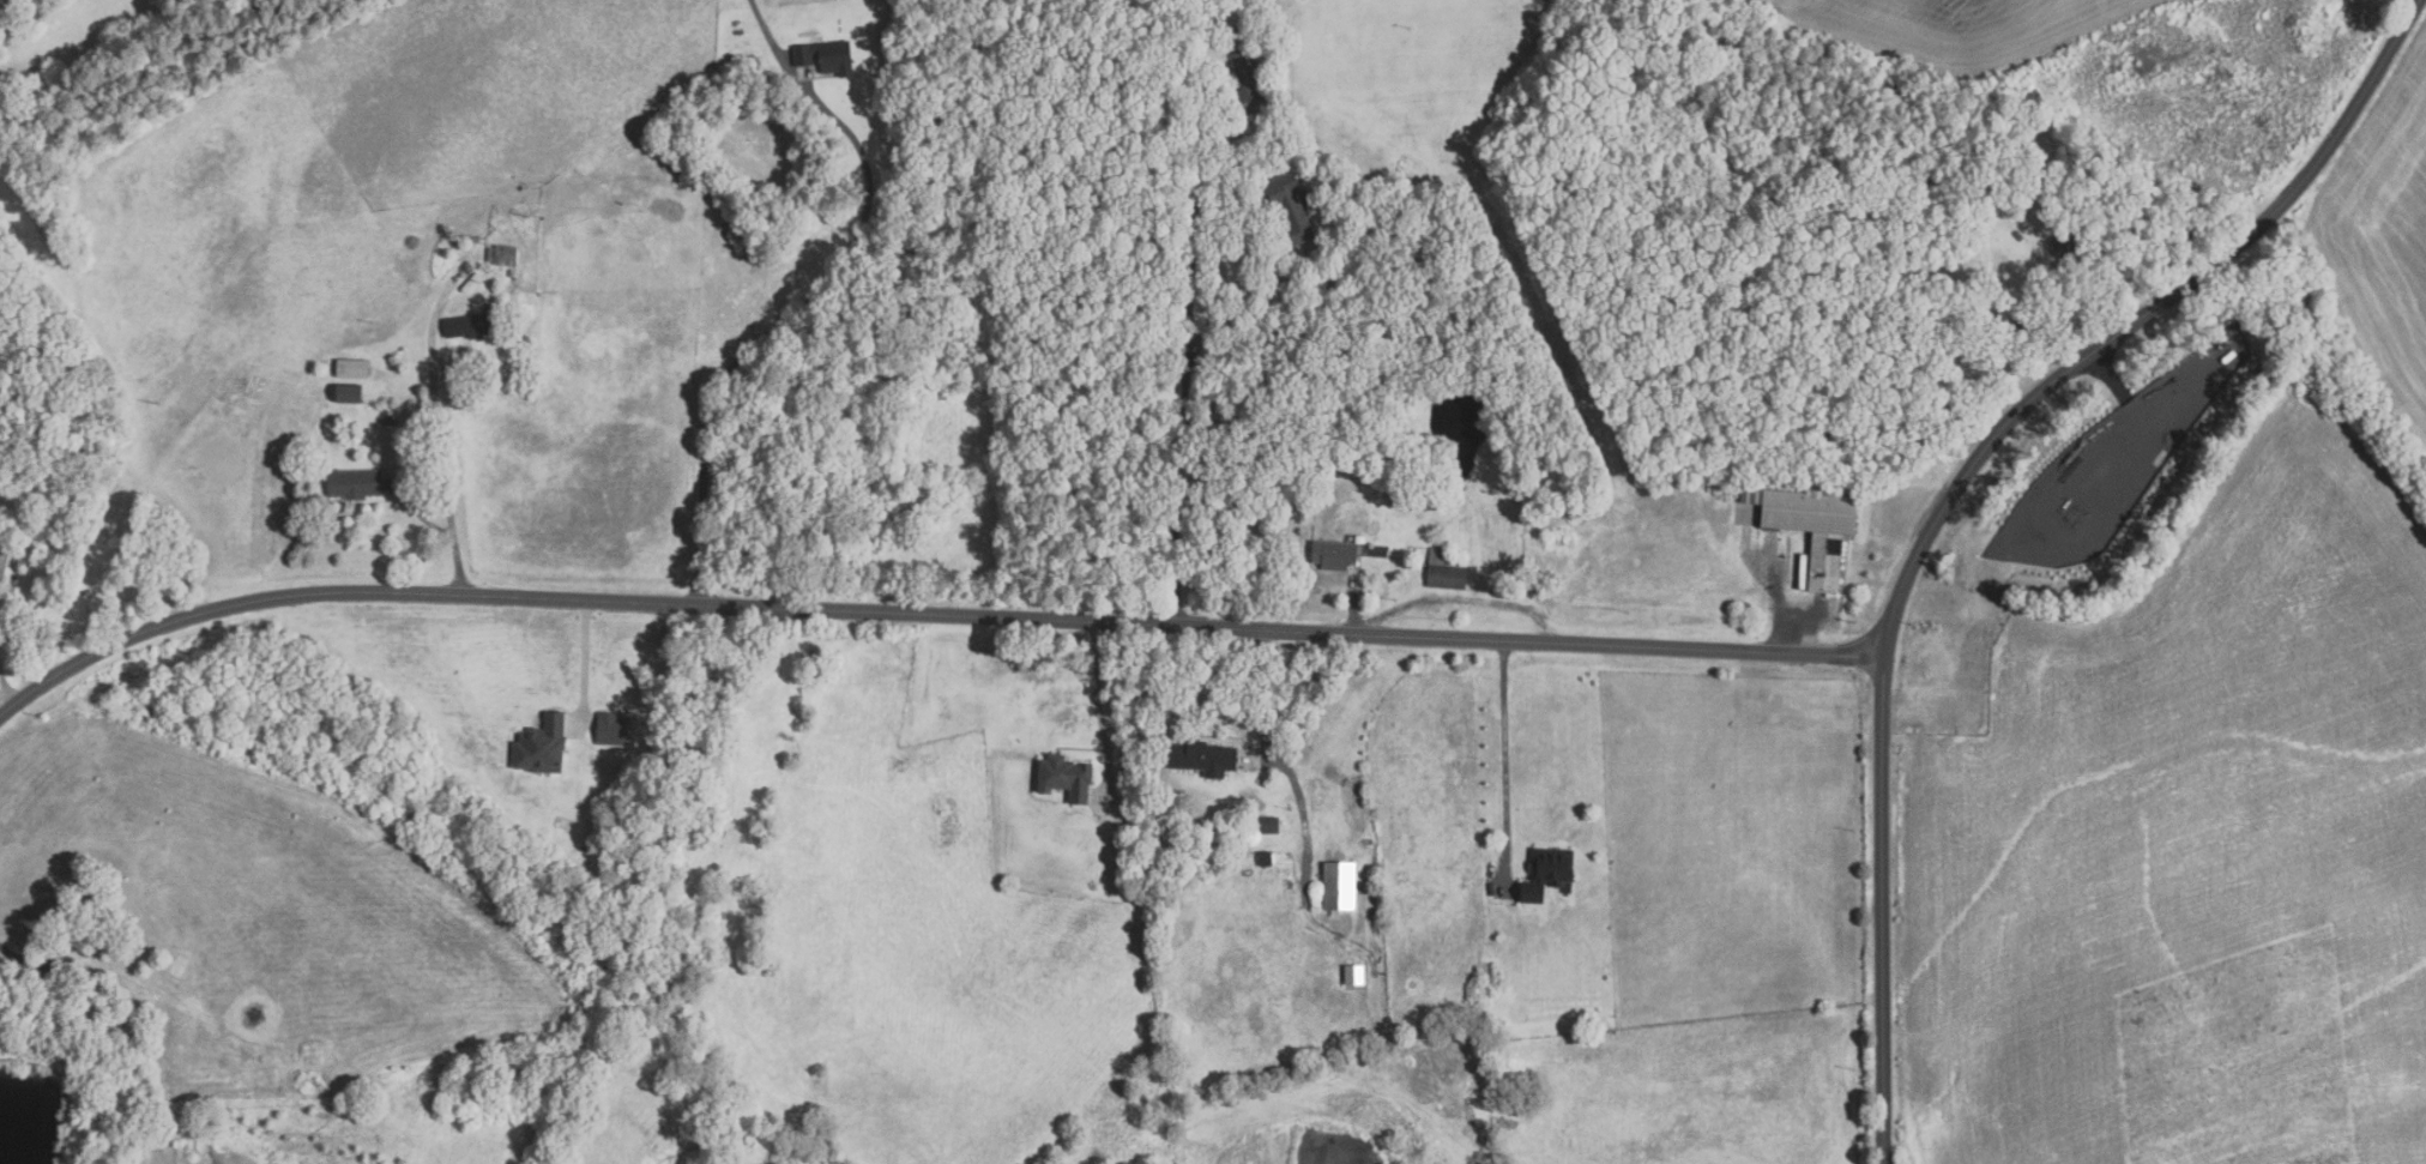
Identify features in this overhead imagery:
building: (1227, 1)
road: (1224, 28)
road: (2396, 32)
road: (777, 52)
building: (831, 56)
building: (1251, 83)
river: (777, 162)
building: (1293, 207)
building: (2017, 235)
building: (2063, 249)
building: (503, 255)
road: (1251, 301)
road: (1188, 322)
building: (2024, 322)
building: (472, 325)
road: (770, 333)
building: (355, 368)
road: (2052, 379)
building: (350, 392)
river: (1462, 412)
building: (392, 421)
road: (442, 451)
building: (356, 484)
road: (424, 519)
building: (1815, 527)
building: (1338, 555)
building: (1448, 569)
road: (1467, 598)
road: (1784, 602)
road: (1353, 605)
road: (929, 611)
road: (584, 659)
road: (7, 686)
road: (1256, 692)
road: (1098, 705)
building: (617, 729)
building: (545, 747)
building: (1208, 759)
road: (1505, 762)
building: (1069, 778)
building: (1131, 822)
building: (1272, 826)
building: (1268, 860)
building: (1550, 874)
building: (1342, 887)
building: (83, 940)
road: (19, 955)
road: (1882, 972)
building: (1357, 975)
river: (38, 1126)
building: (2219, 1144)

